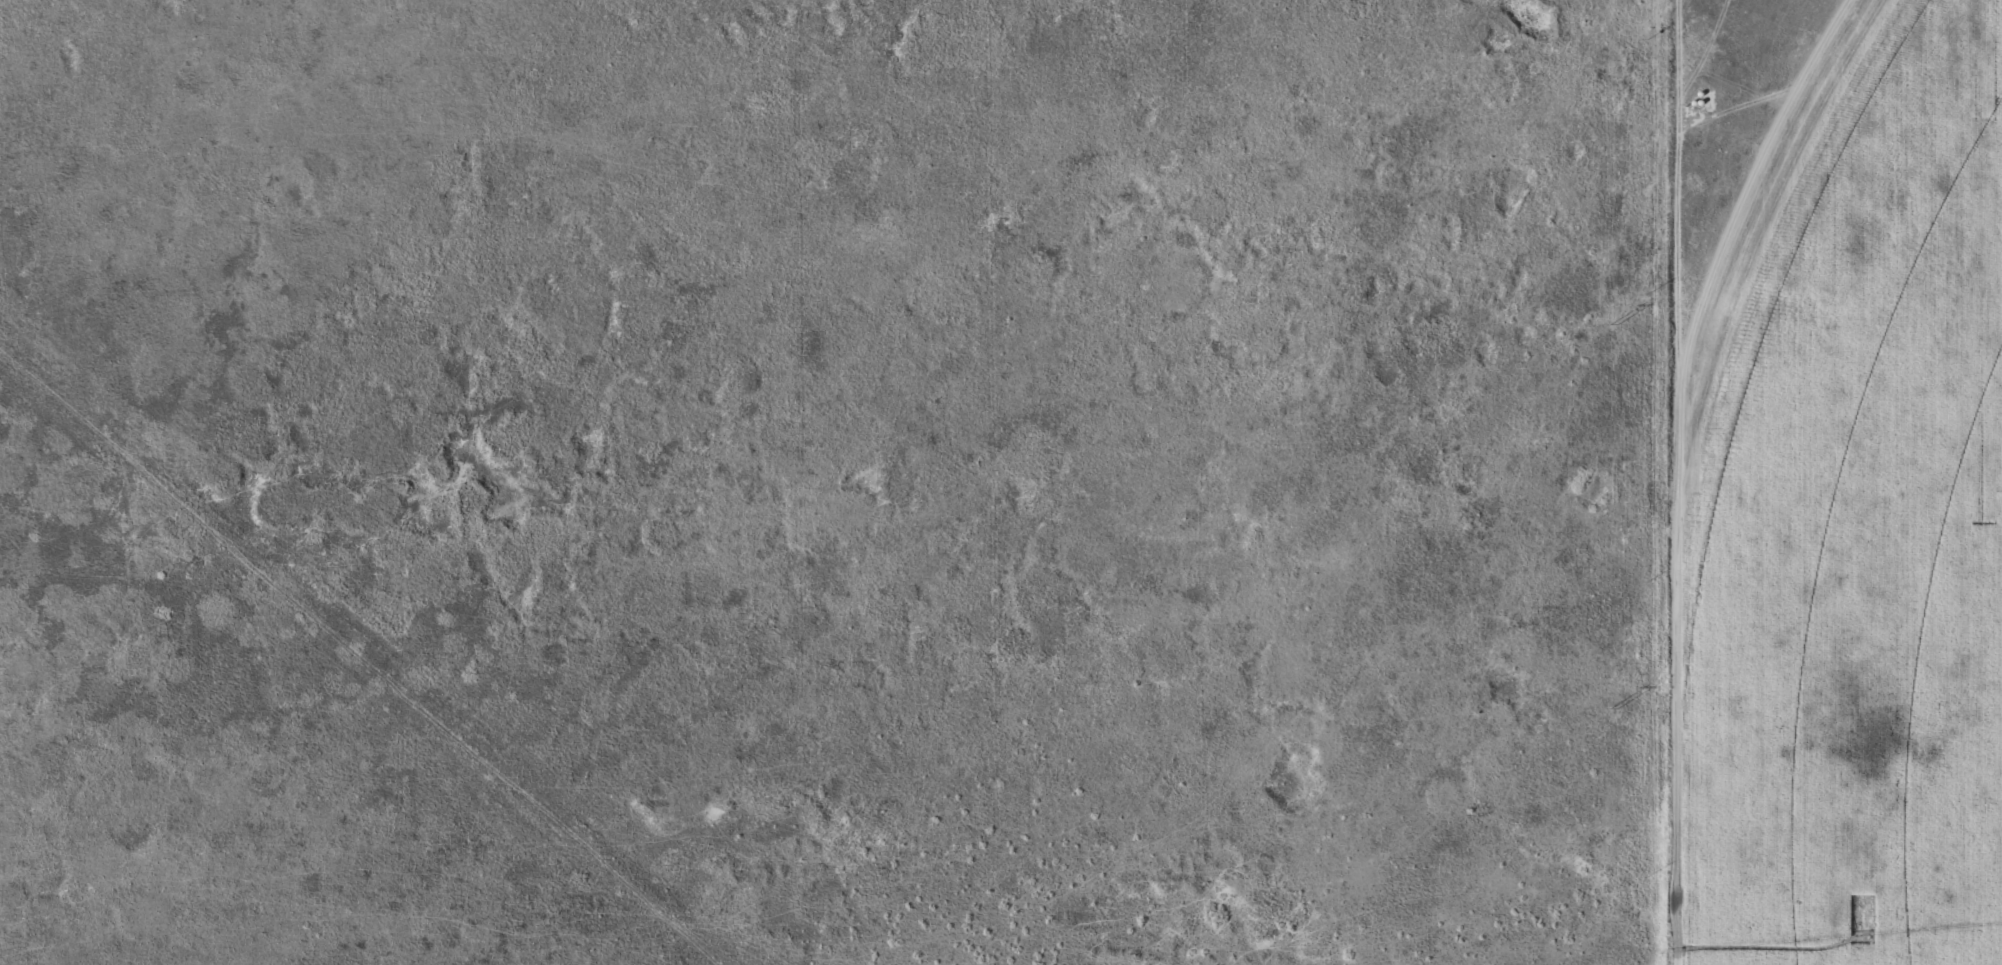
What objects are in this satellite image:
power tower: (1618, 324)
road: (1668, 482)
crop: (1859, 542)
power tower: (1614, 707)

